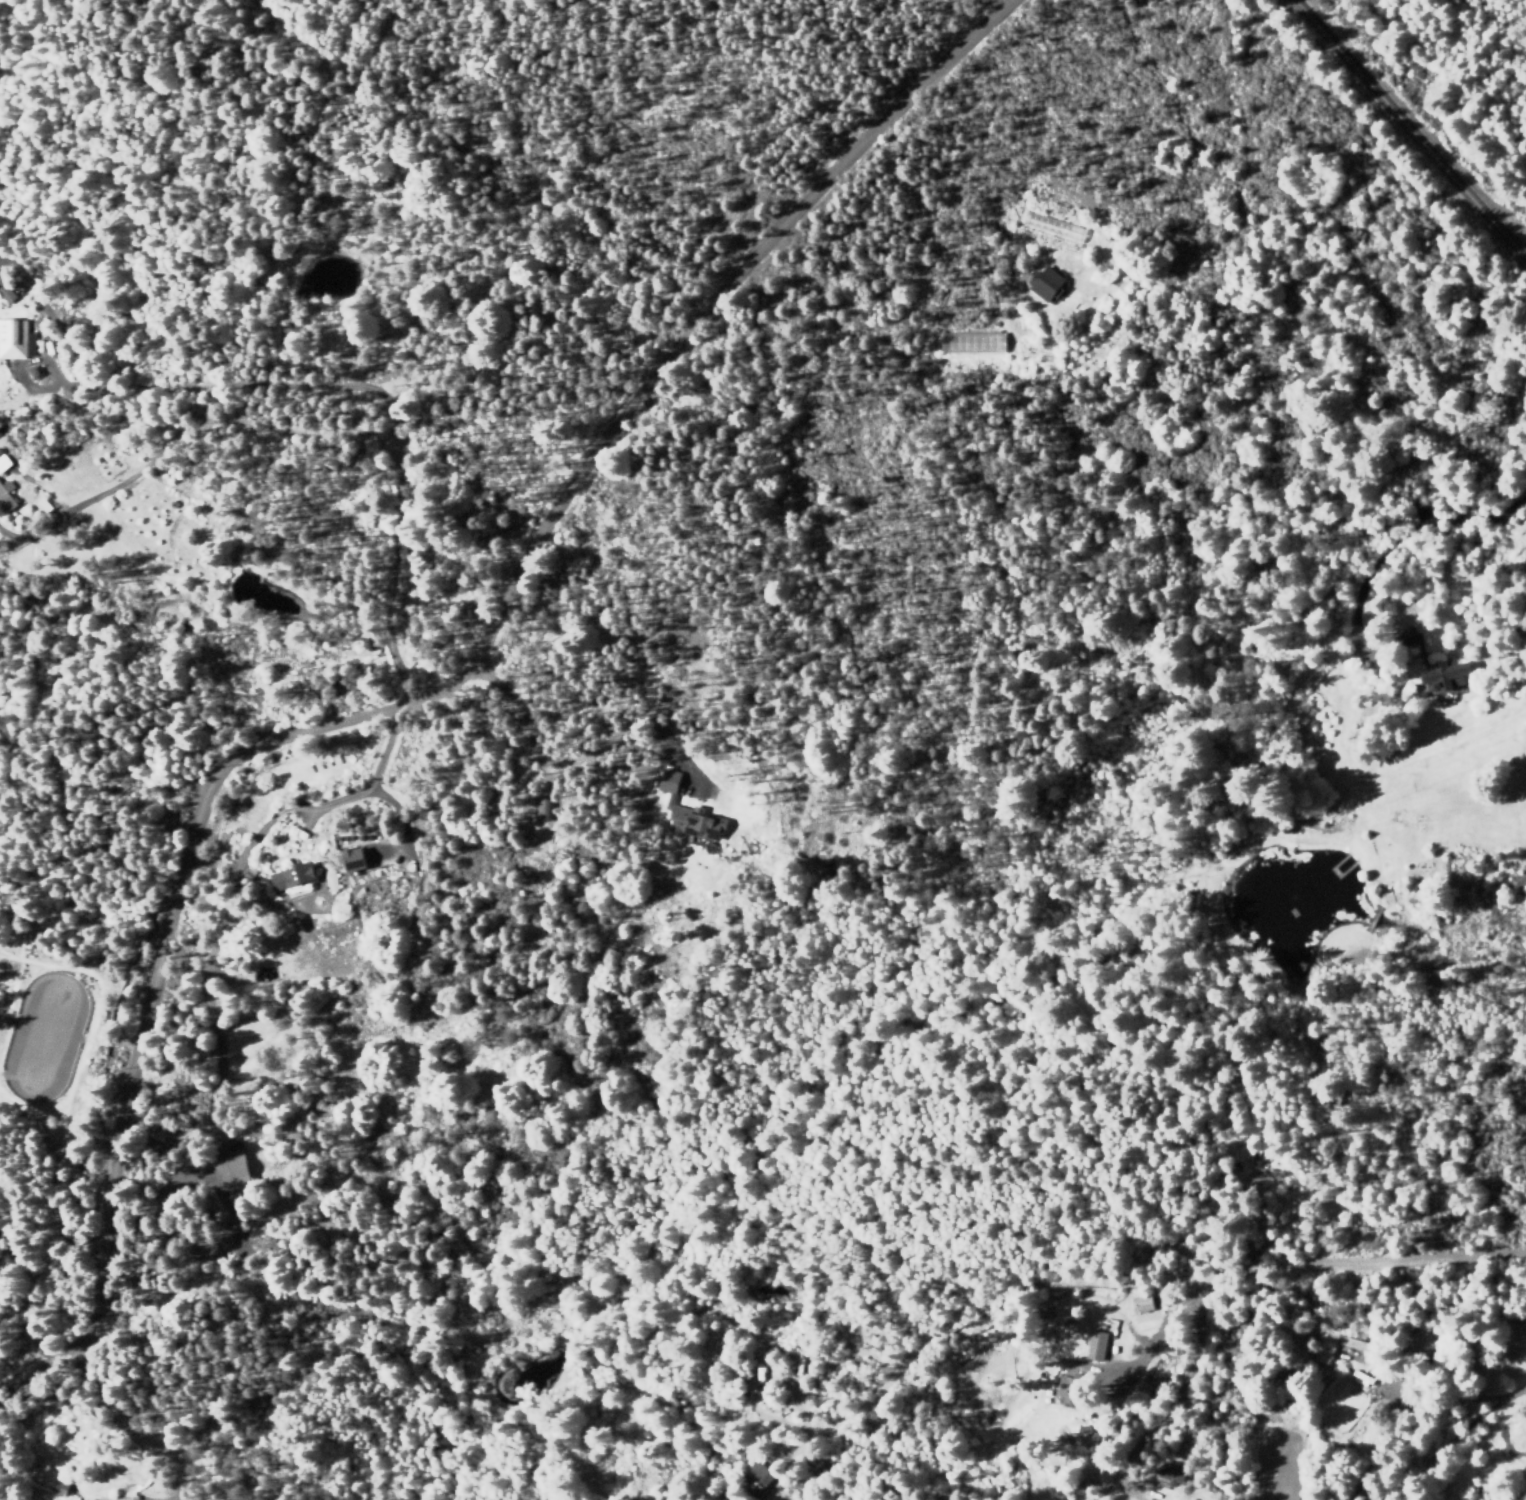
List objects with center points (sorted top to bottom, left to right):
road: (1408, 130)
building: (1042, 282)
building: (8, 293)
building: (14, 338)
building: (970, 342)
building: (3, 461)
building: (5, 496)
building: (1443, 675)
road: (432, 696)
building: (684, 812)
building: (345, 858)
building: (288, 874)
road: (1365, 1265)
road: (1021, 1286)
building: (1136, 1305)
building: (1349, 1342)
building: (1094, 1345)
building: (1323, 1351)
road: (1488, 1447)
building: (1169, 1472)
building: (753, 1478)

